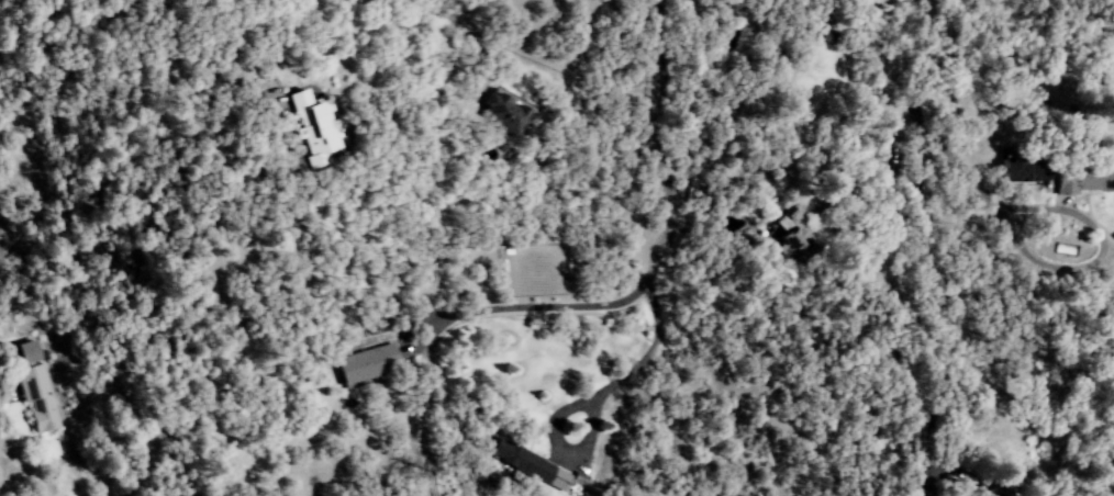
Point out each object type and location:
road: (238, 34)
building: (506, 110)
building: (325, 128)
road: (912, 137)
road: (653, 145)
road: (872, 162)
building: (1024, 168)
building: (1083, 179)
building: (810, 204)
road: (1071, 213)
building: (792, 235)
road: (527, 306)
building: (31, 351)
road: (646, 353)
building: (370, 364)
building: (38, 398)
building: (530, 464)

